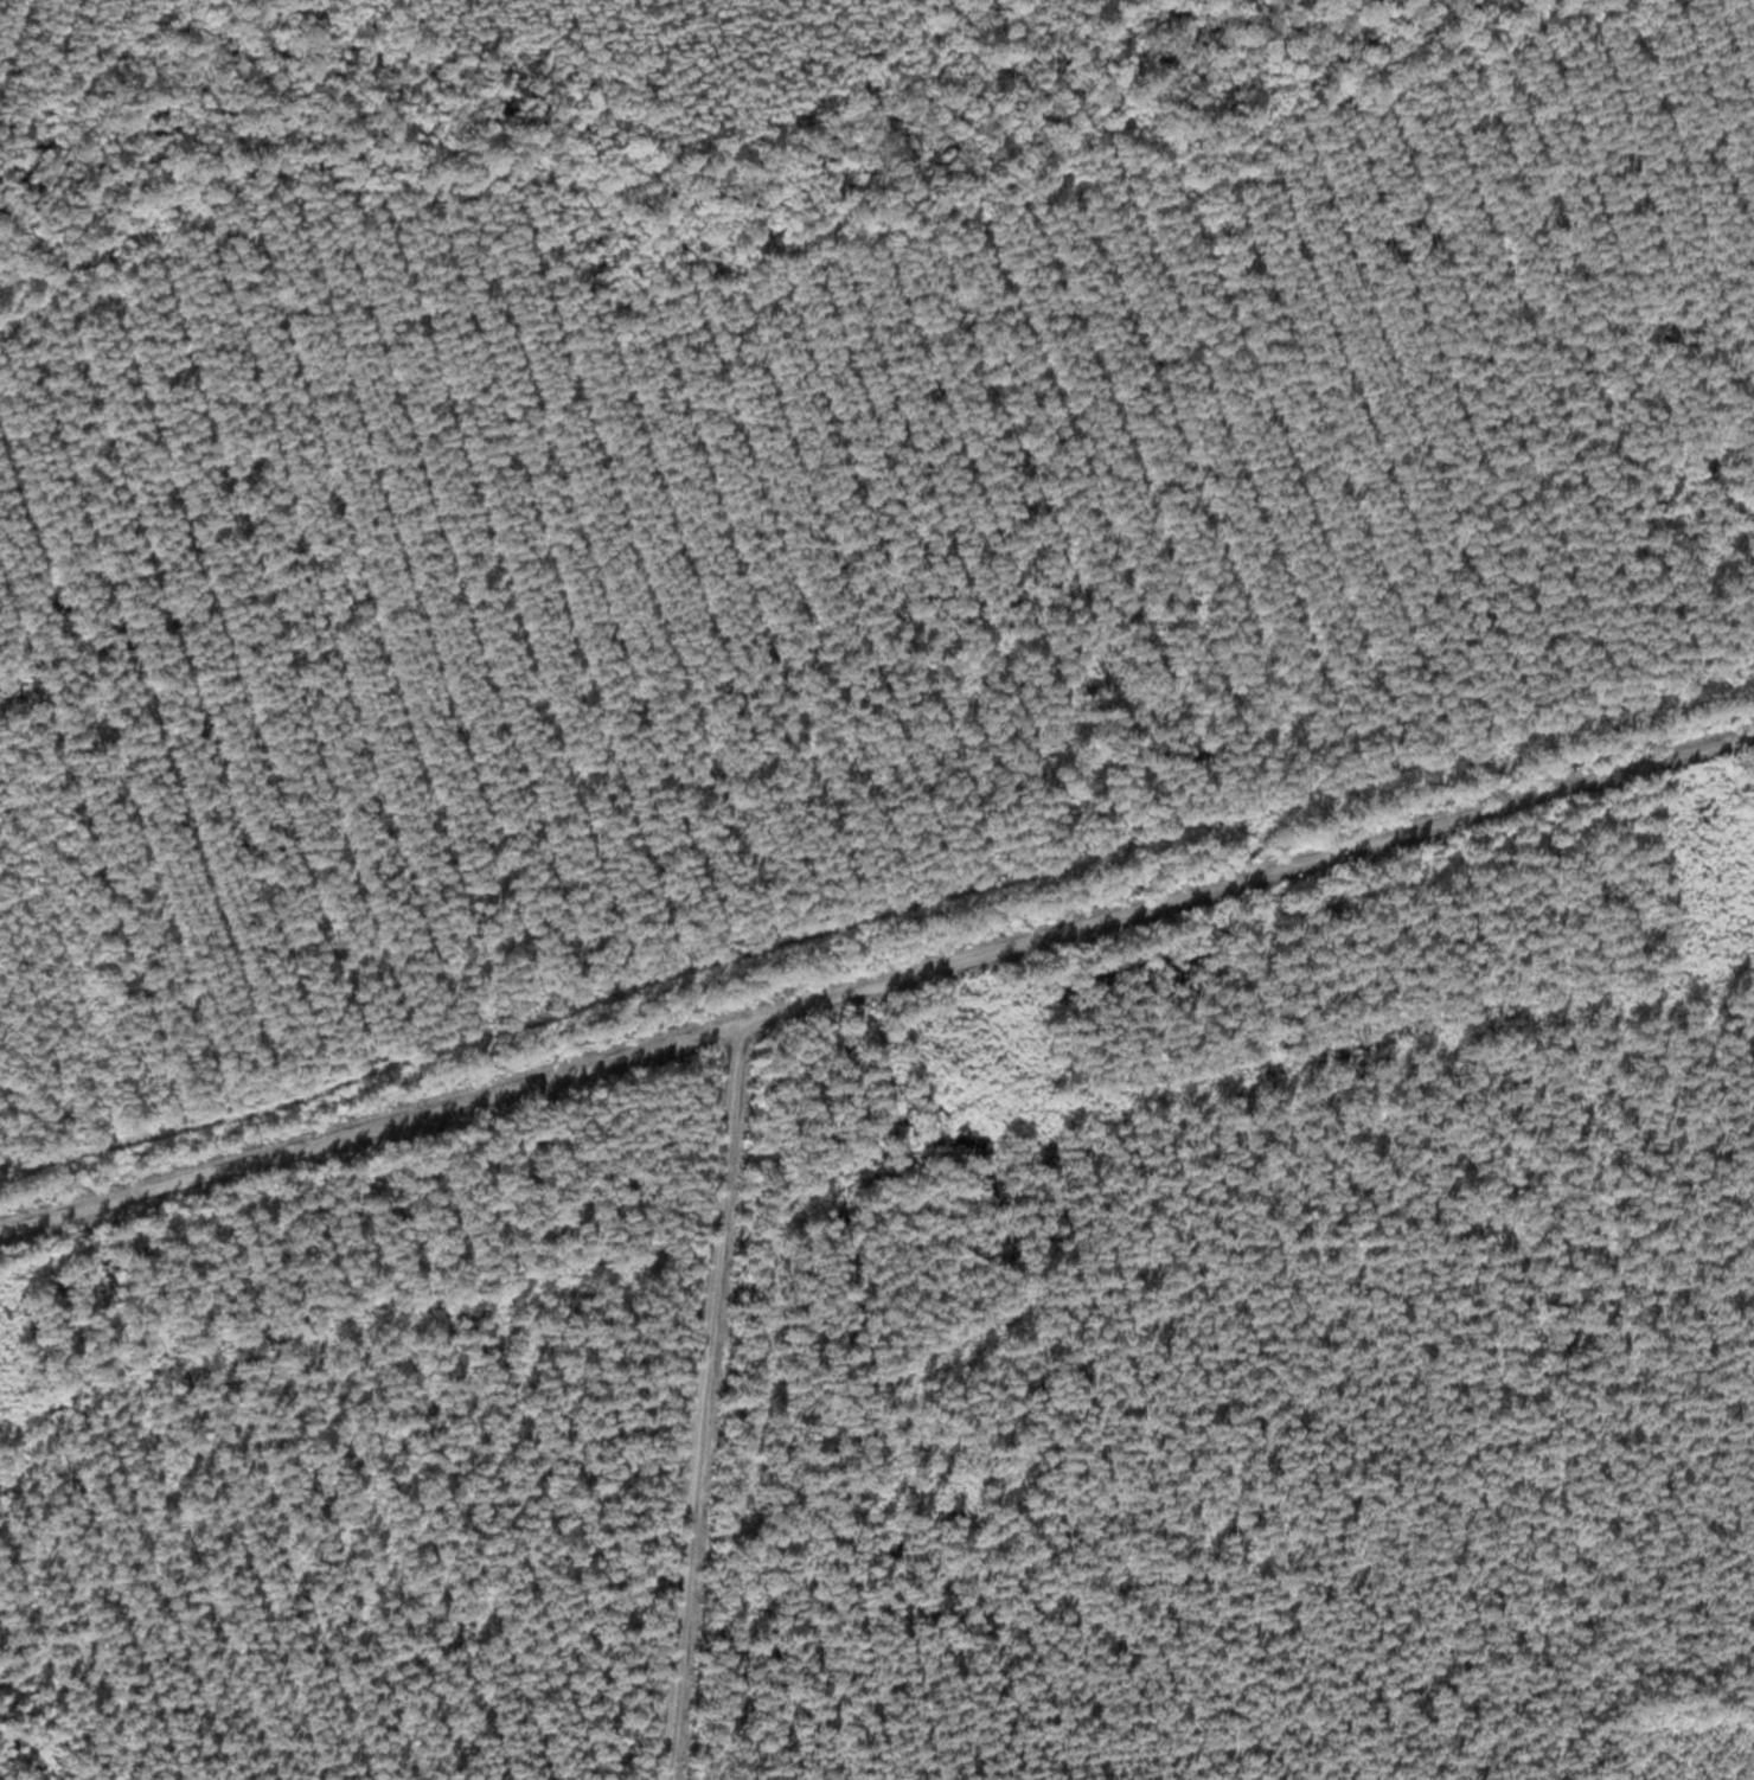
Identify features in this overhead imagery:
road: (876, 992)
road: (719, 1408)

